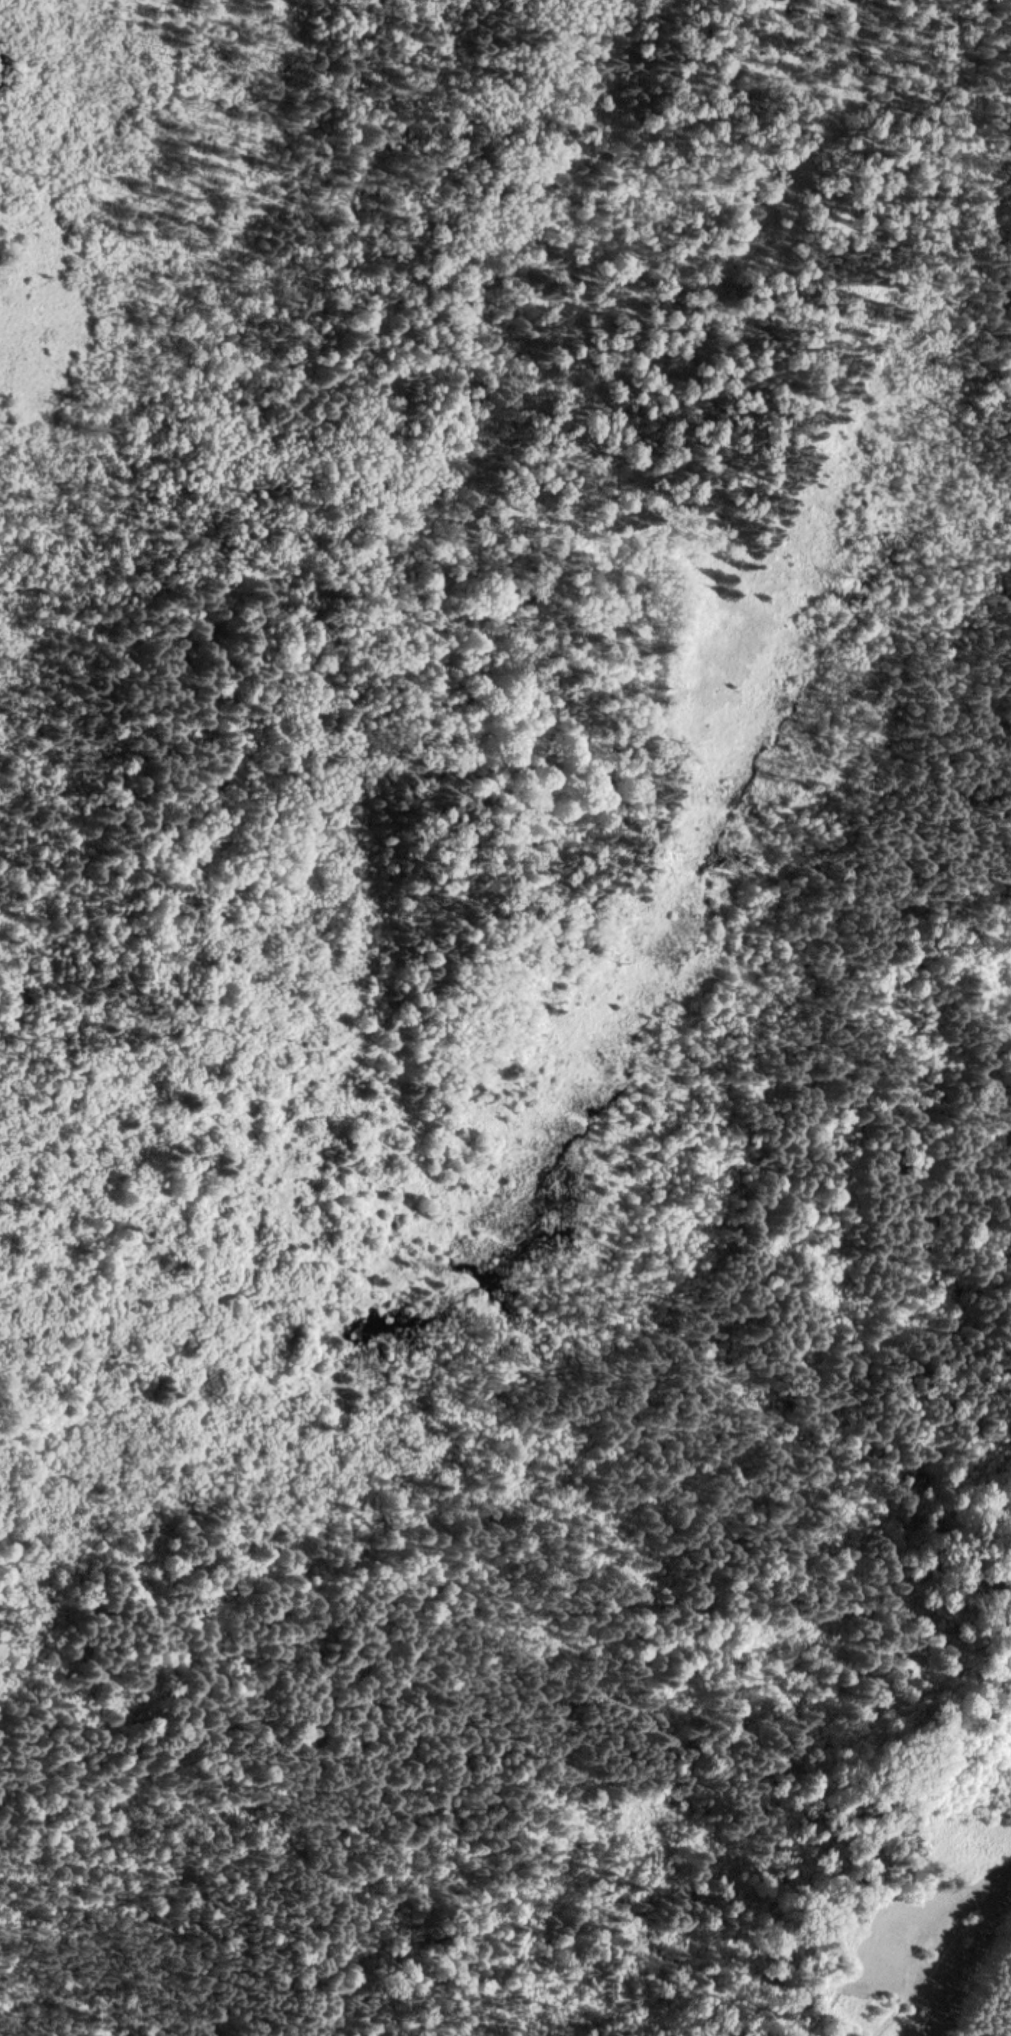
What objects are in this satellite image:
road: (1010, 1580)
road: (915, 1854)

